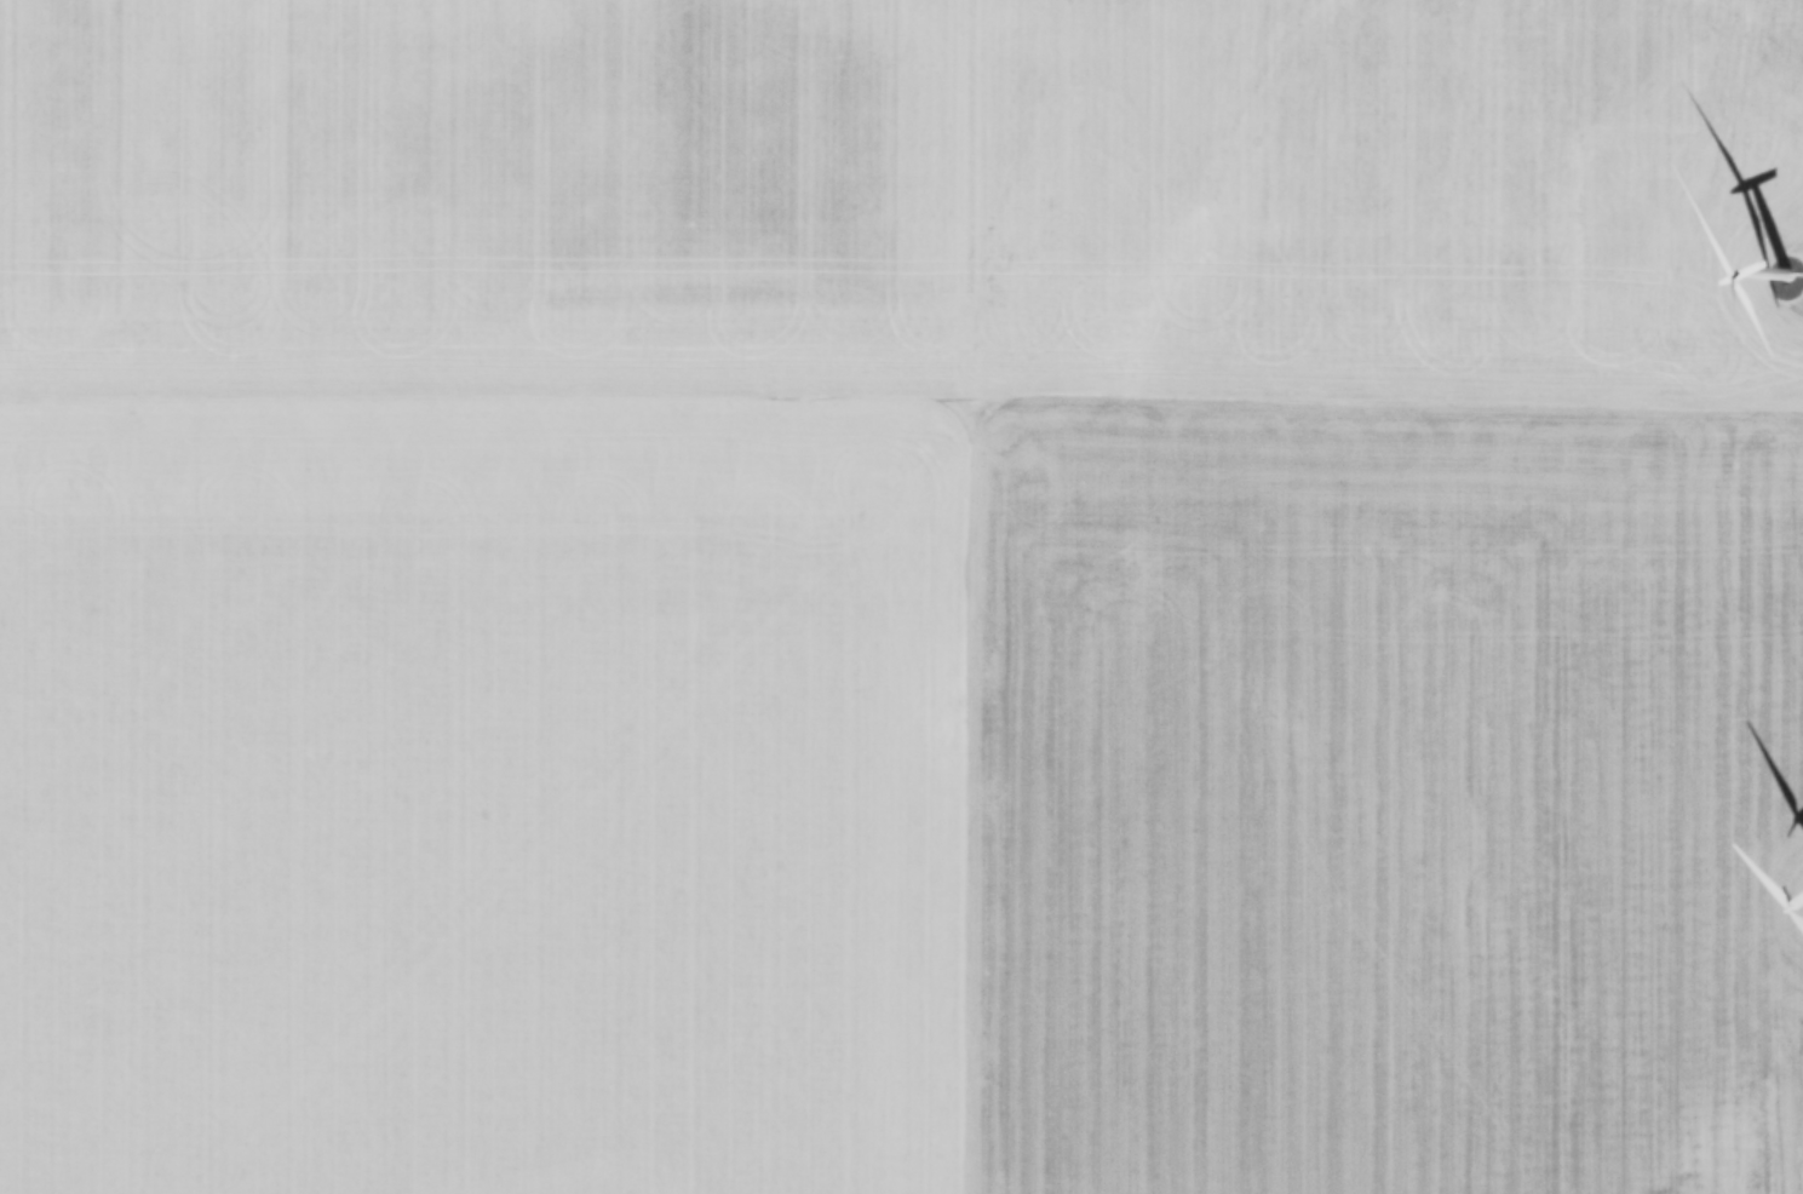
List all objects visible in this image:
wind turbine: (1772, 283)

